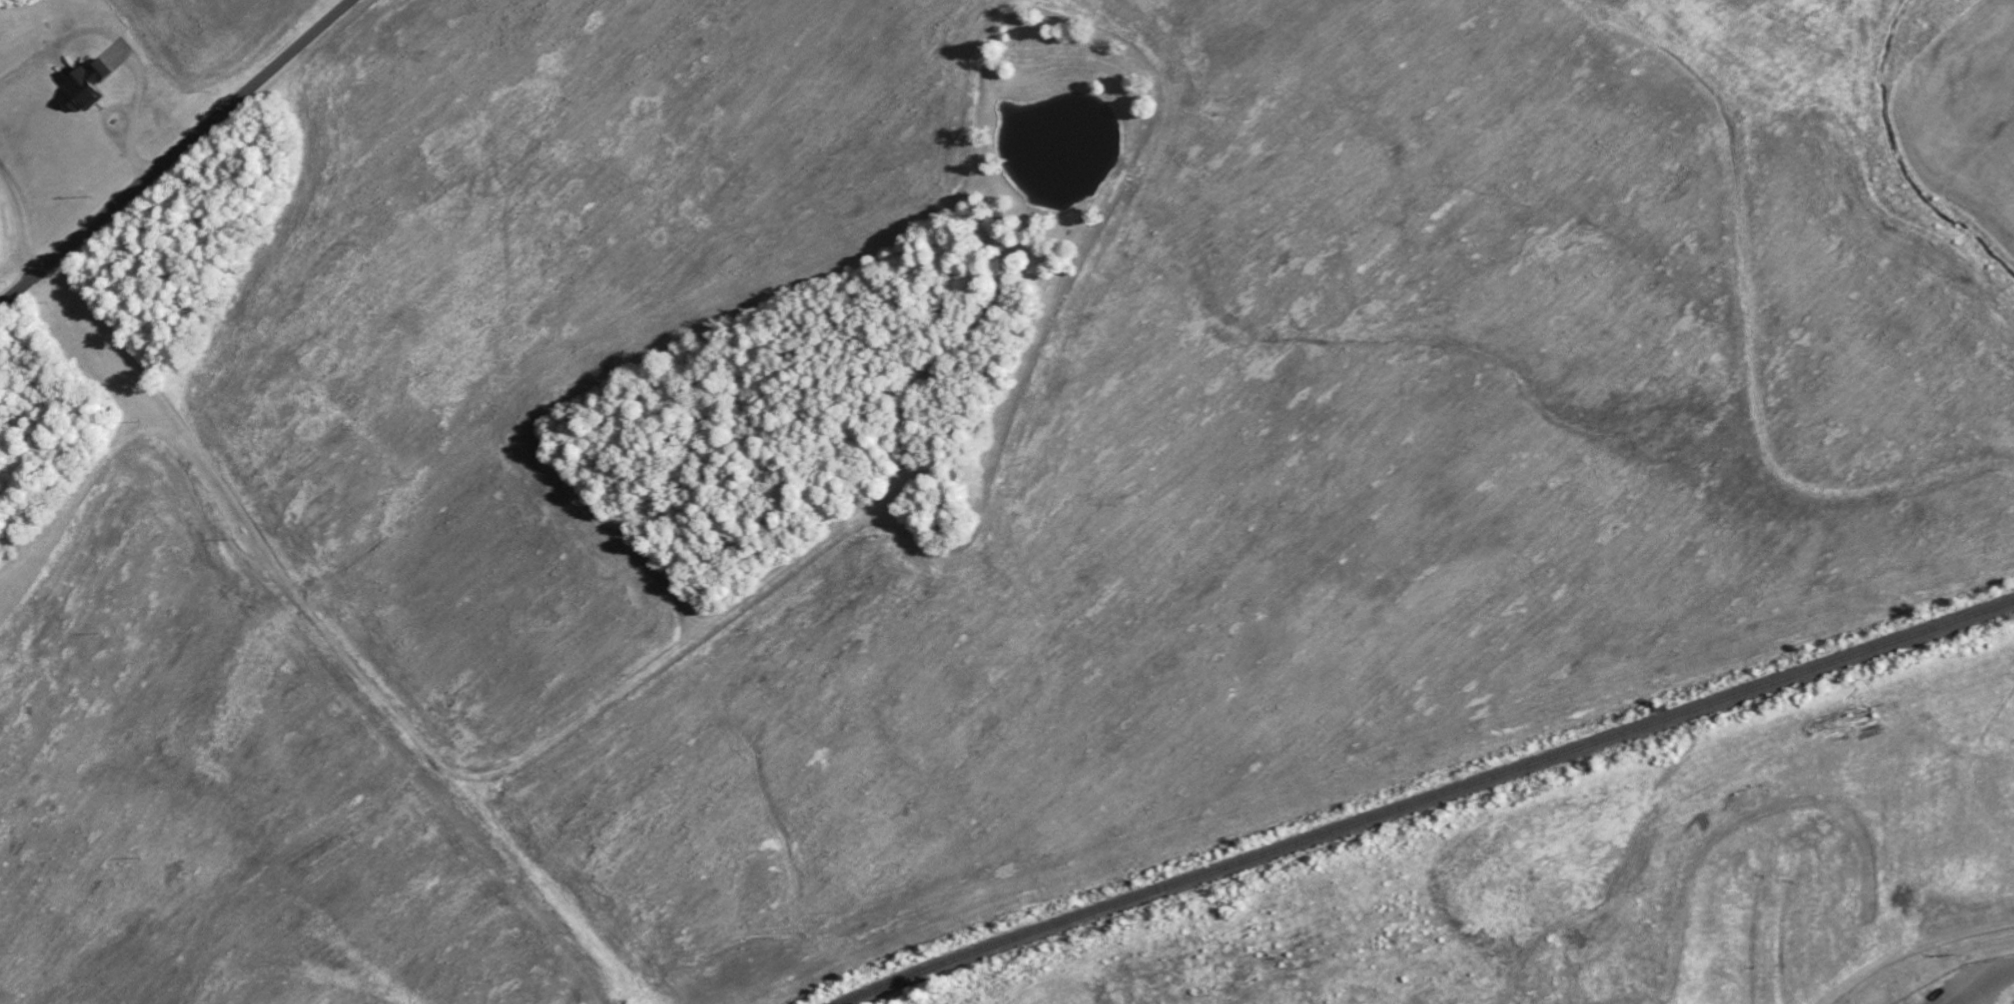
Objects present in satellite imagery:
road: (125, 40)
road: (173, 150)
road: (20, 220)
railway: (1423, 796)
road: (1980, 985)

